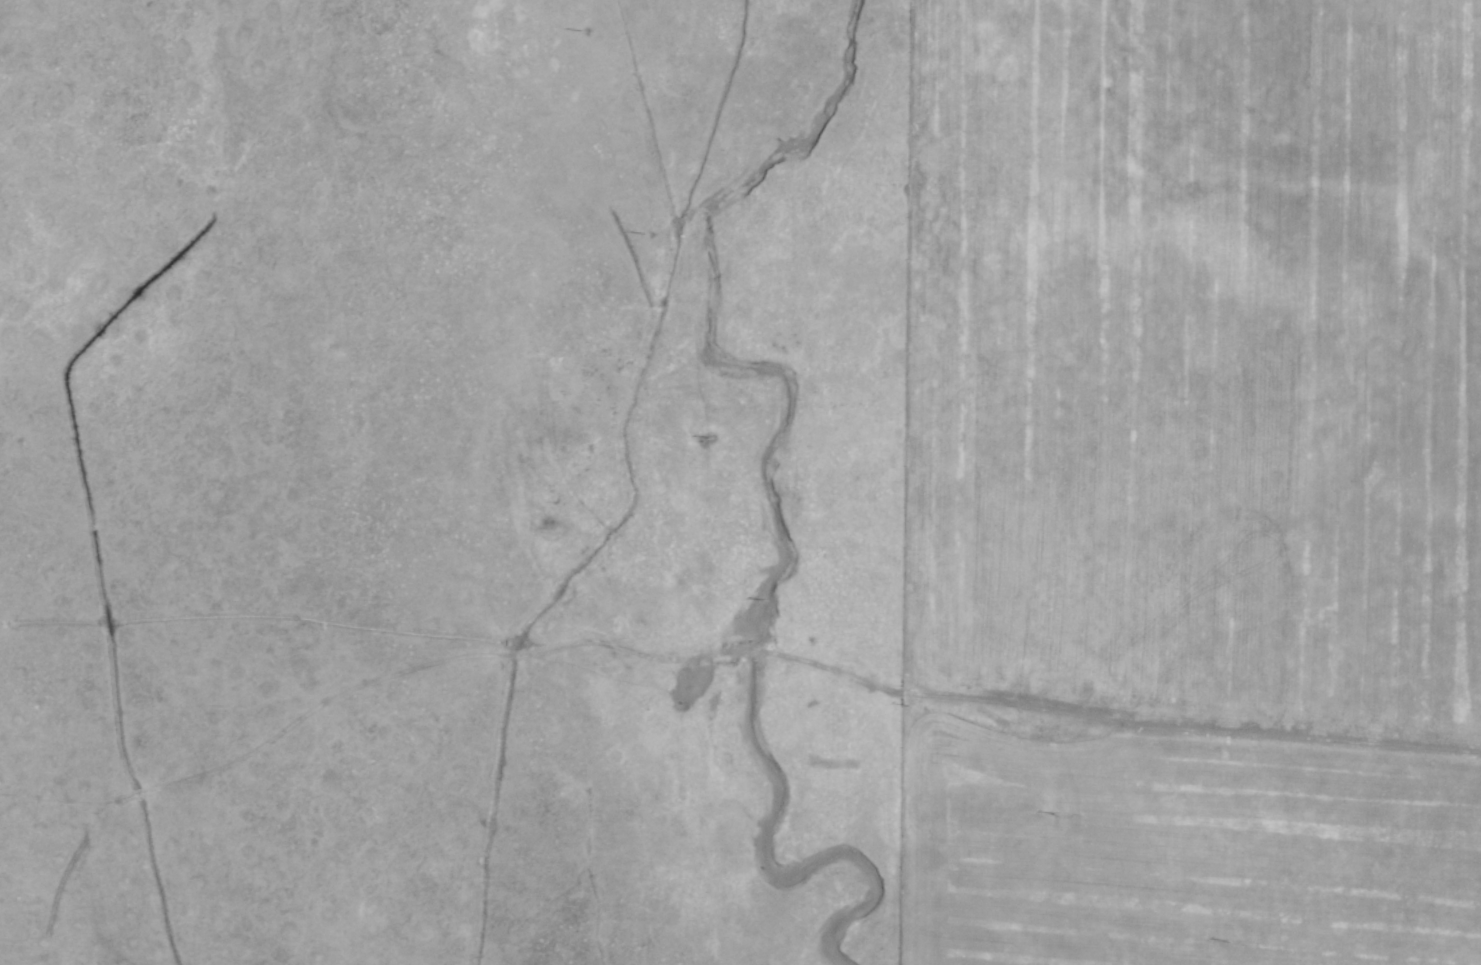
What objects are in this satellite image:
crop: (740, 482)

